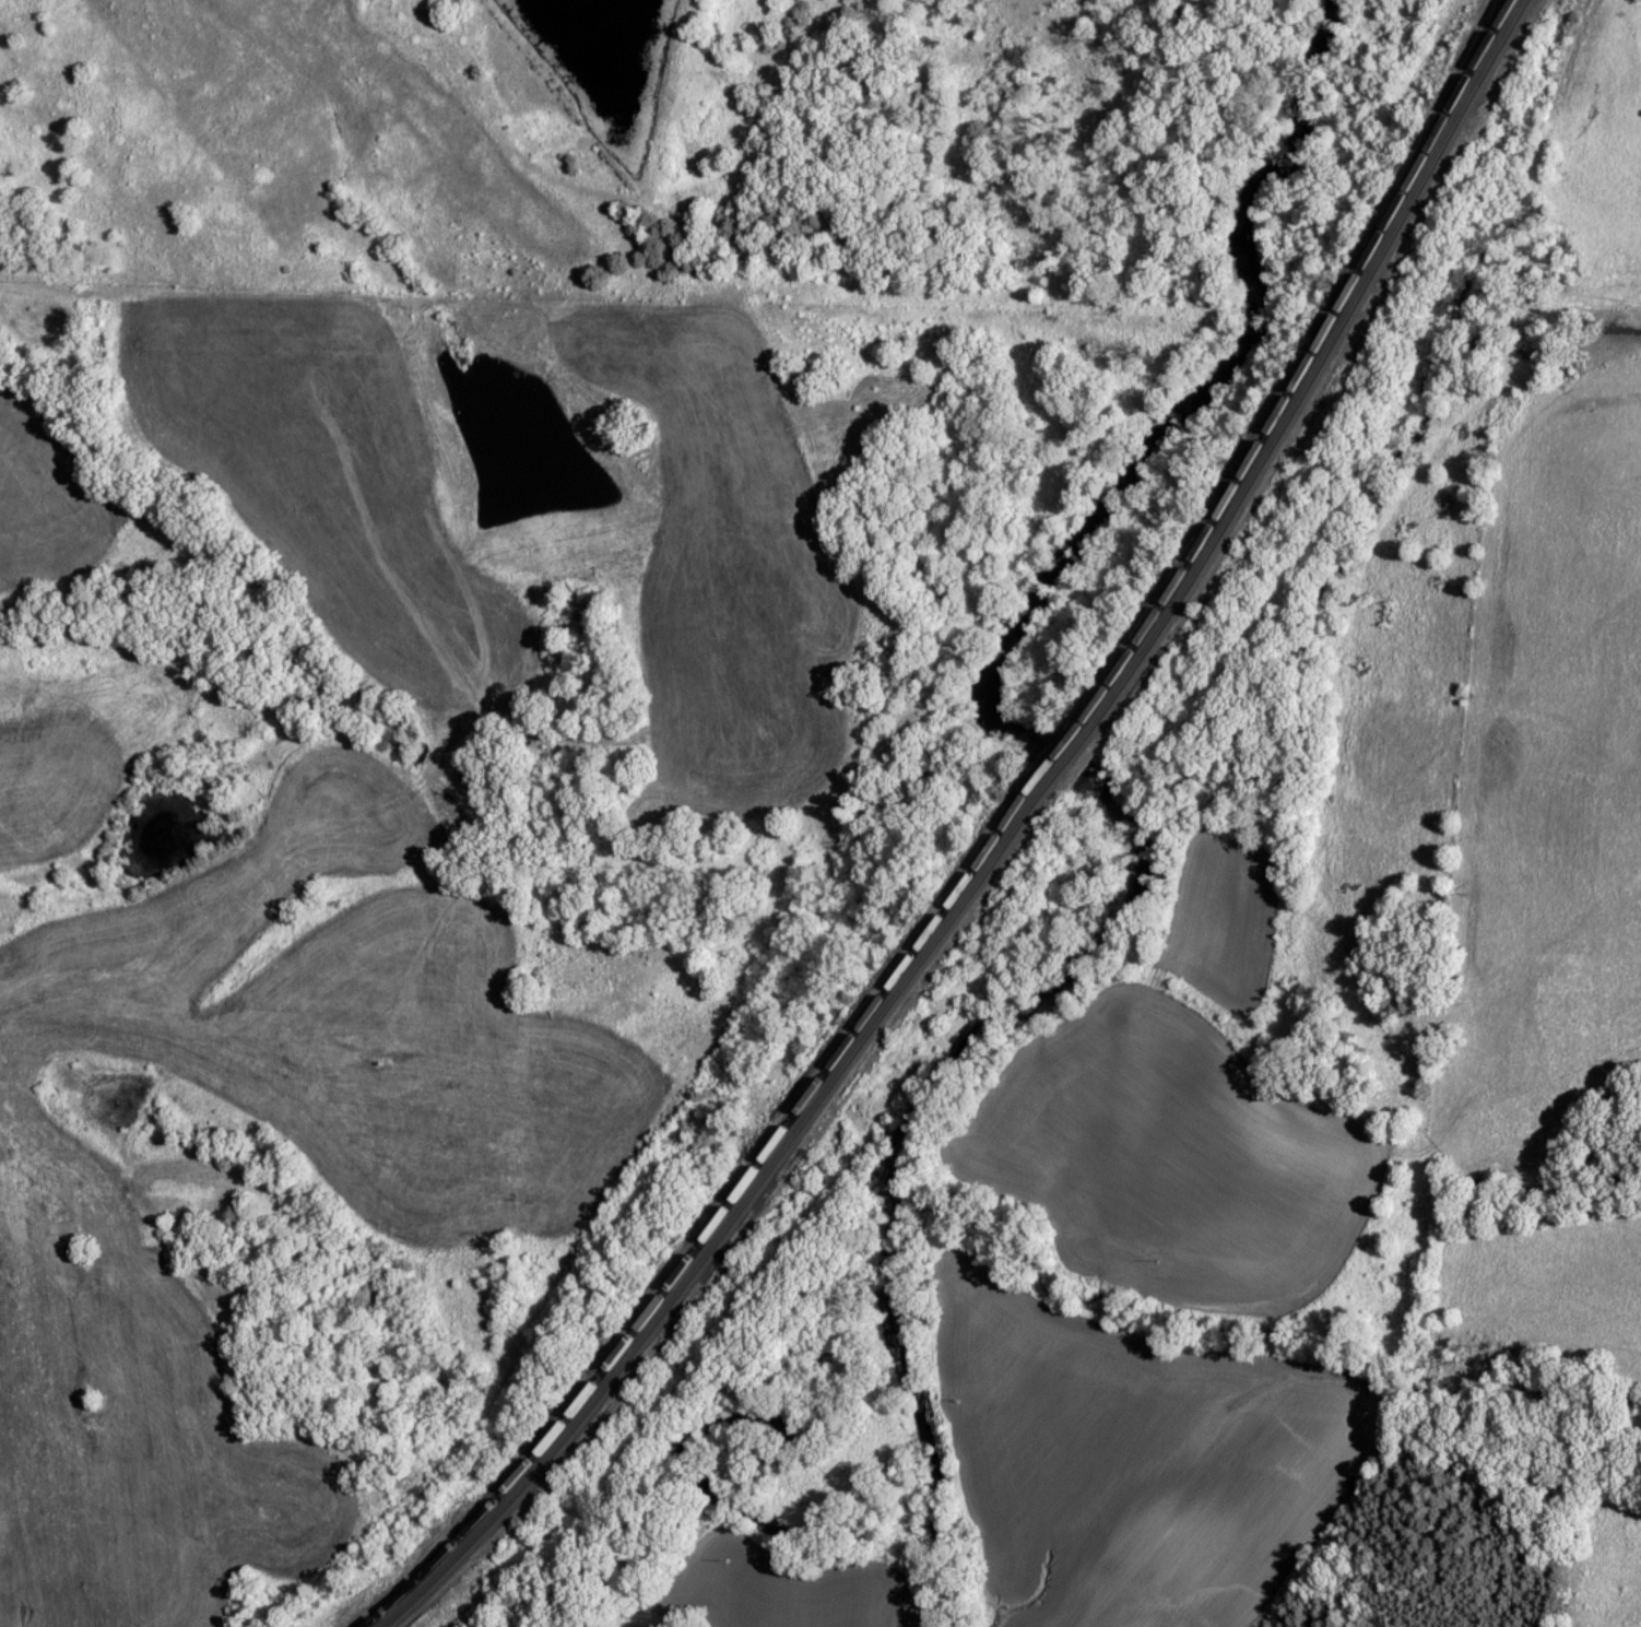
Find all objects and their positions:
railway: (1006, 848)
railway: (991, 849)

